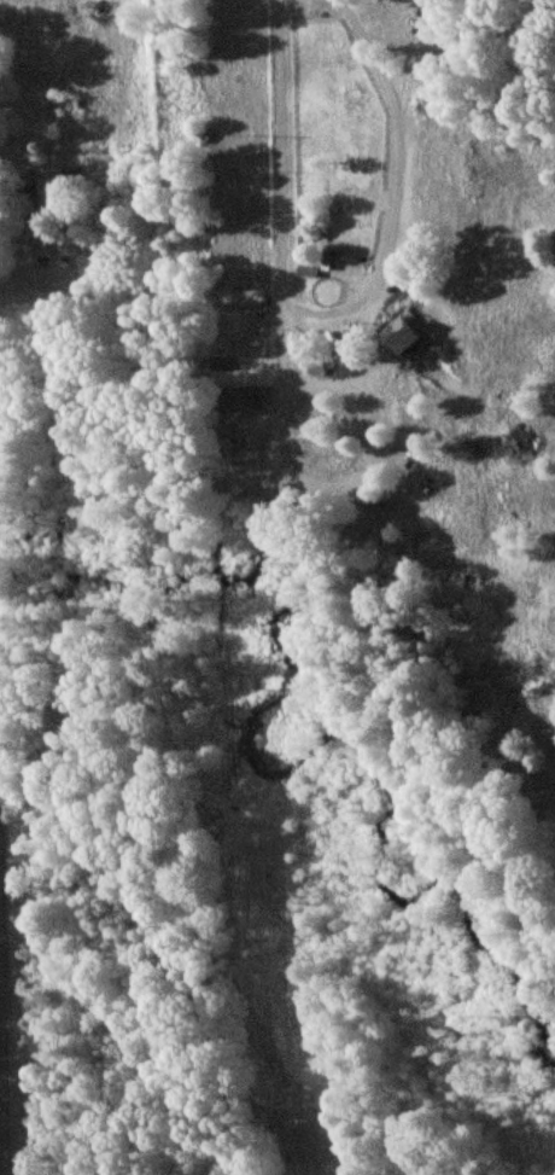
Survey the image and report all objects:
building: (39, 191)
road: (285, 233)
building: (397, 336)
road: (1, 1124)

